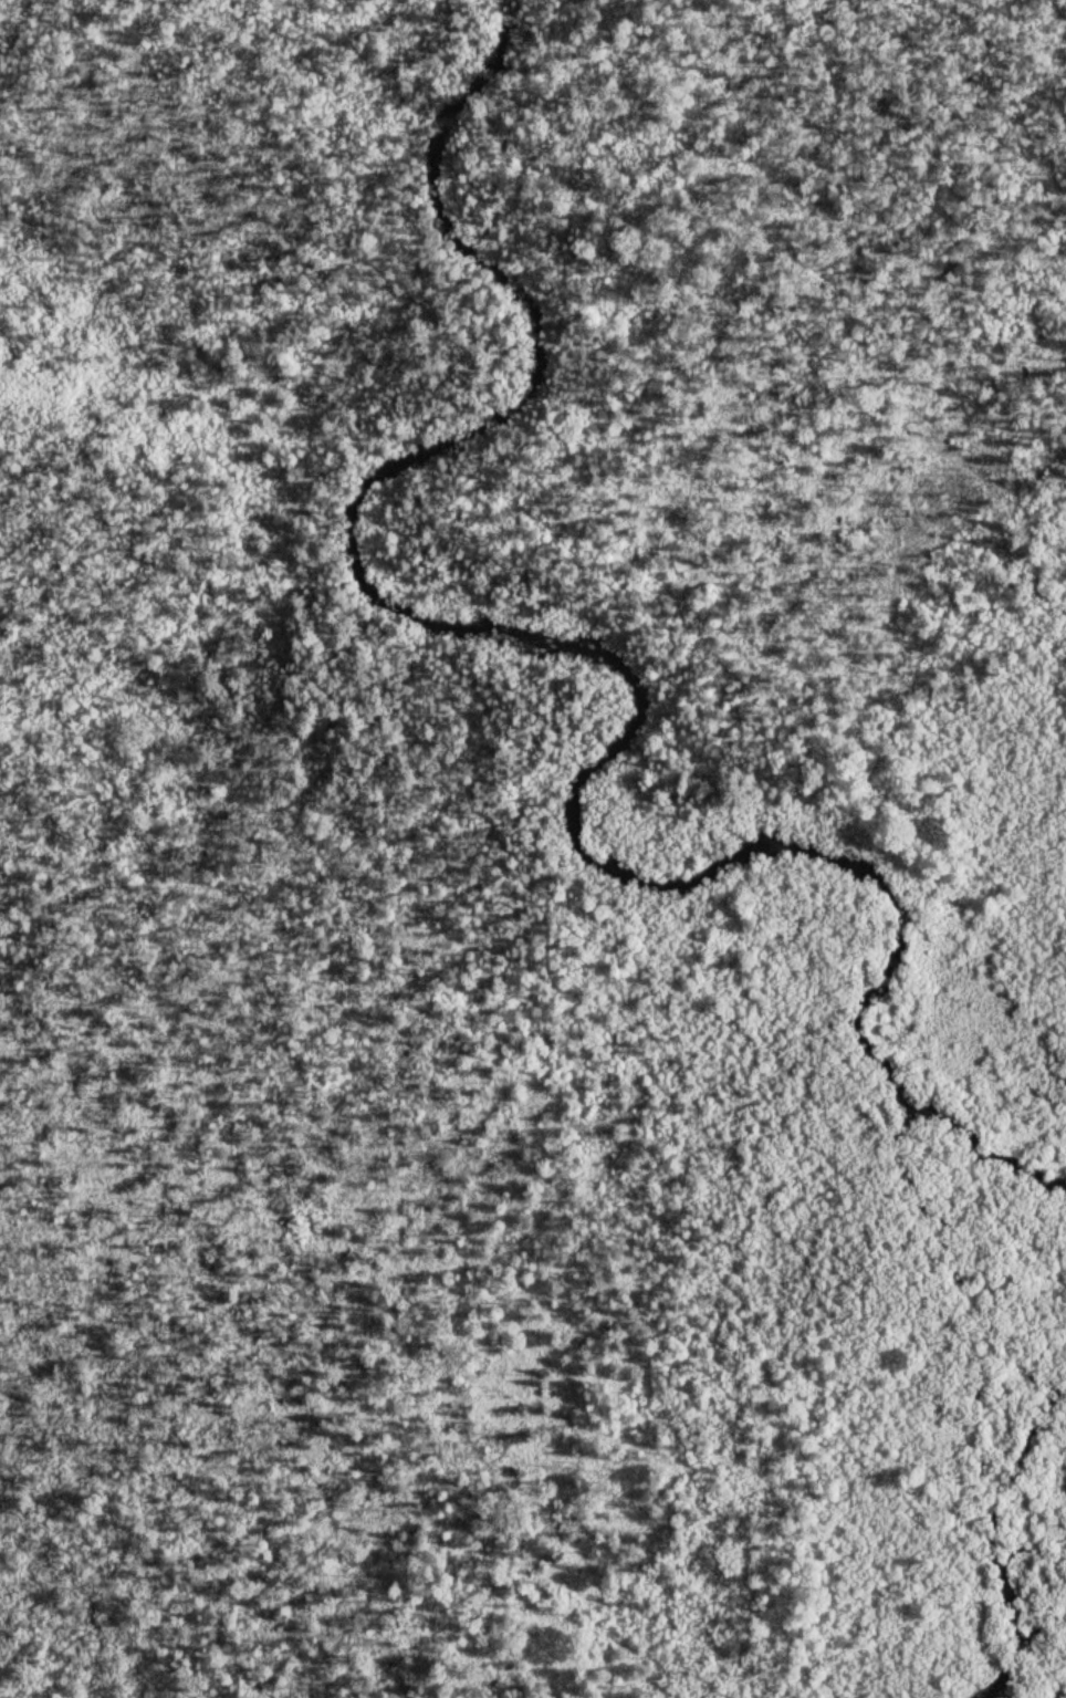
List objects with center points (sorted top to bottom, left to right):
river: (606, 656)
river: (1021, 1649)

